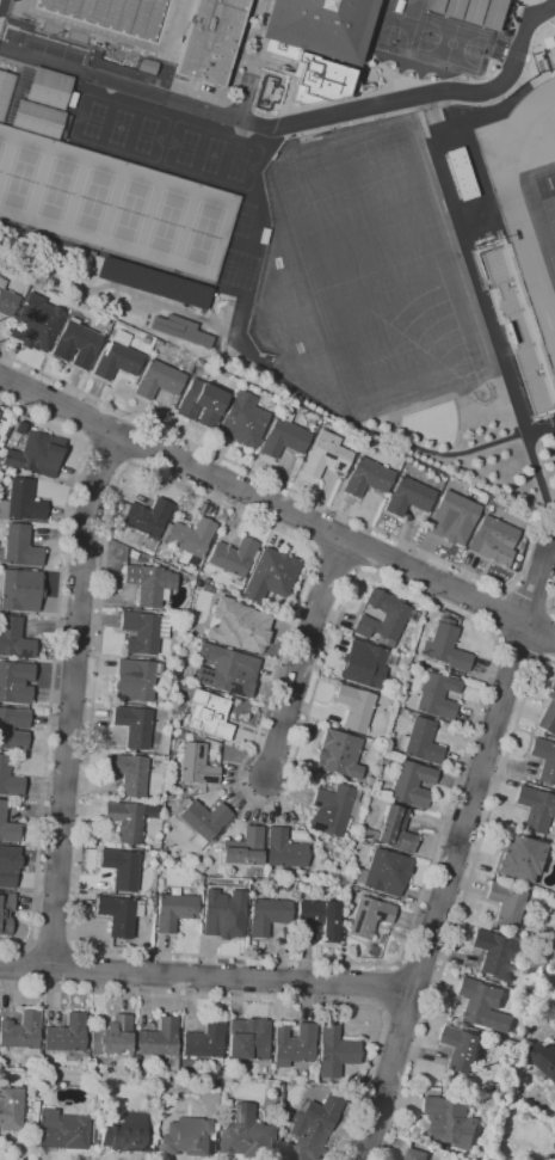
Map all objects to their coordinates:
building: (438, 5)
building: (458, 8)
building: (477, 11)
building: (498, 14)
park: (396, 23)
building: (320, 26)
building: (210, 41)
park: (451, 43)
building: (49, 88)
building: (5, 91)
building: (37, 118)
road: (297, 122)
road: (476, 166)
track: (539, 185)
park: (113, 204)
track: (520, 205)
park: (543, 205)
building: (92, 253)
road: (469, 265)
park: (366, 274)
building: (154, 282)
rooftop solar panel: (160, 288)
road: (115, 291)
building: (6, 301)
building: (35, 324)
building: (180, 330)
building: (516, 336)
building: (144, 340)
building: (76, 343)
building: (158, 343)
building: (118, 358)
building: (158, 380)
road: (310, 399)
building: (201, 404)
building: (284, 416)
building: (242, 421)
park: (432, 423)
road: (95, 424)
road: (539, 429)
building: (283, 438)
road: (138, 443)
building: (36, 455)
road: (106, 455)
building: (325, 455)
rooftop solar panel: (326, 456)
rooftop solar panel: (337, 466)
building: (431, 475)
building: (366, 478)
road: (284, 487)
building: (408, 497)
road: (261, 499)
building: (21, 502)
building: (147, 518)
building: (451, 518)
building: (191, 538)
building: (493, 540)
building: (20, 547)
building: (132, 554)
building: (233, 557)
road: (309, 563)
building: (270, 576)
building: (149, 584)
building: (198, 585)
building: (20, 590)
road: (526, 601)
road: (553, 603)
road: (497, 612)
building: (383, 616)
building: (238, 625)
road: (539, 630)
building: (142, 632)
road: (545, 634)
building: (14, 639)
building: (445, 646)
road: (517, 651)
rooftop solar panel: (21, 655)
road: (302, 657)
road: (54, 659)
building: (363, 664)
building: (227, 670)
rooftop solar panel: (198, 673)
rooftop solar panel: (203, 673)
rooftop solar panel: (208, 673)
rooftop solar panel: (198, 679)
building: (135, 680)
rooftop solar panel: (203, 680)
building: (14, 682)
rooftop solar panel: (206, 682)
rooftop solar panel: (235, 691)
building: (437, 695)
road: (73, 698)
building: (354, 706)
building: (548, 712)
building: (208, 714)
building: (132, 728)
building: (6, 730)
building: (420, 742)
building: (338, 755)
building: (544, 759)
building: (197, 765)
building: (129, 773)
building: (8, 779)
building: (369, 781)
building: (409, 781)
building: (169, 805)
building: (536, 809)
building: (152, 810)
building: (333, 810)
building: (125, 821)
building: (203, 822)
building: (7, 827)
building: (395, 830)
building: (368, 834)
road: (457, 847)
building: (243, 848)
building: (283, 849)
building: (519, 859)
road: (474, 861)
building: (8, 866)
building: (198, 866)
building: (121, 869)
building: (383, 872)
building: (275, 874)
rooftop solar panel: (360, 903)
building: (506, 904)
building: (174, 910)
building: (5, 912)
building: (119, 914)
building: (223, 914)
building: (269, 915)
rooftop solar panel: (377, 915)
building: (369, 916)
building: (316, 920)
rooftop solar panel: (356, 921)
road: (53, 944)
building: (371, 950)
building: (495, 953)
road: (208, 976)
road: (388, 988)
road: (227, 999)
building: (485, 1005)
building: (21, 1032)
building: (66, 1035)
building: (112, 1036)
building: (158, 1038)
building: (247, 1039)
building: (205, 1043)
building: (292, 1045)
building: (462, 1048)
building: (334, 1051)
building: (543, 1058)
building: (10, 1109)
rooftop solar panel: (234, 1117)
building: (451, 1122)
building: (310, 1128)
building: (60, 1130)
building: (123, 1133)
building: (245, 1134)
building: (185, 1136)
building: (415, 1154)

